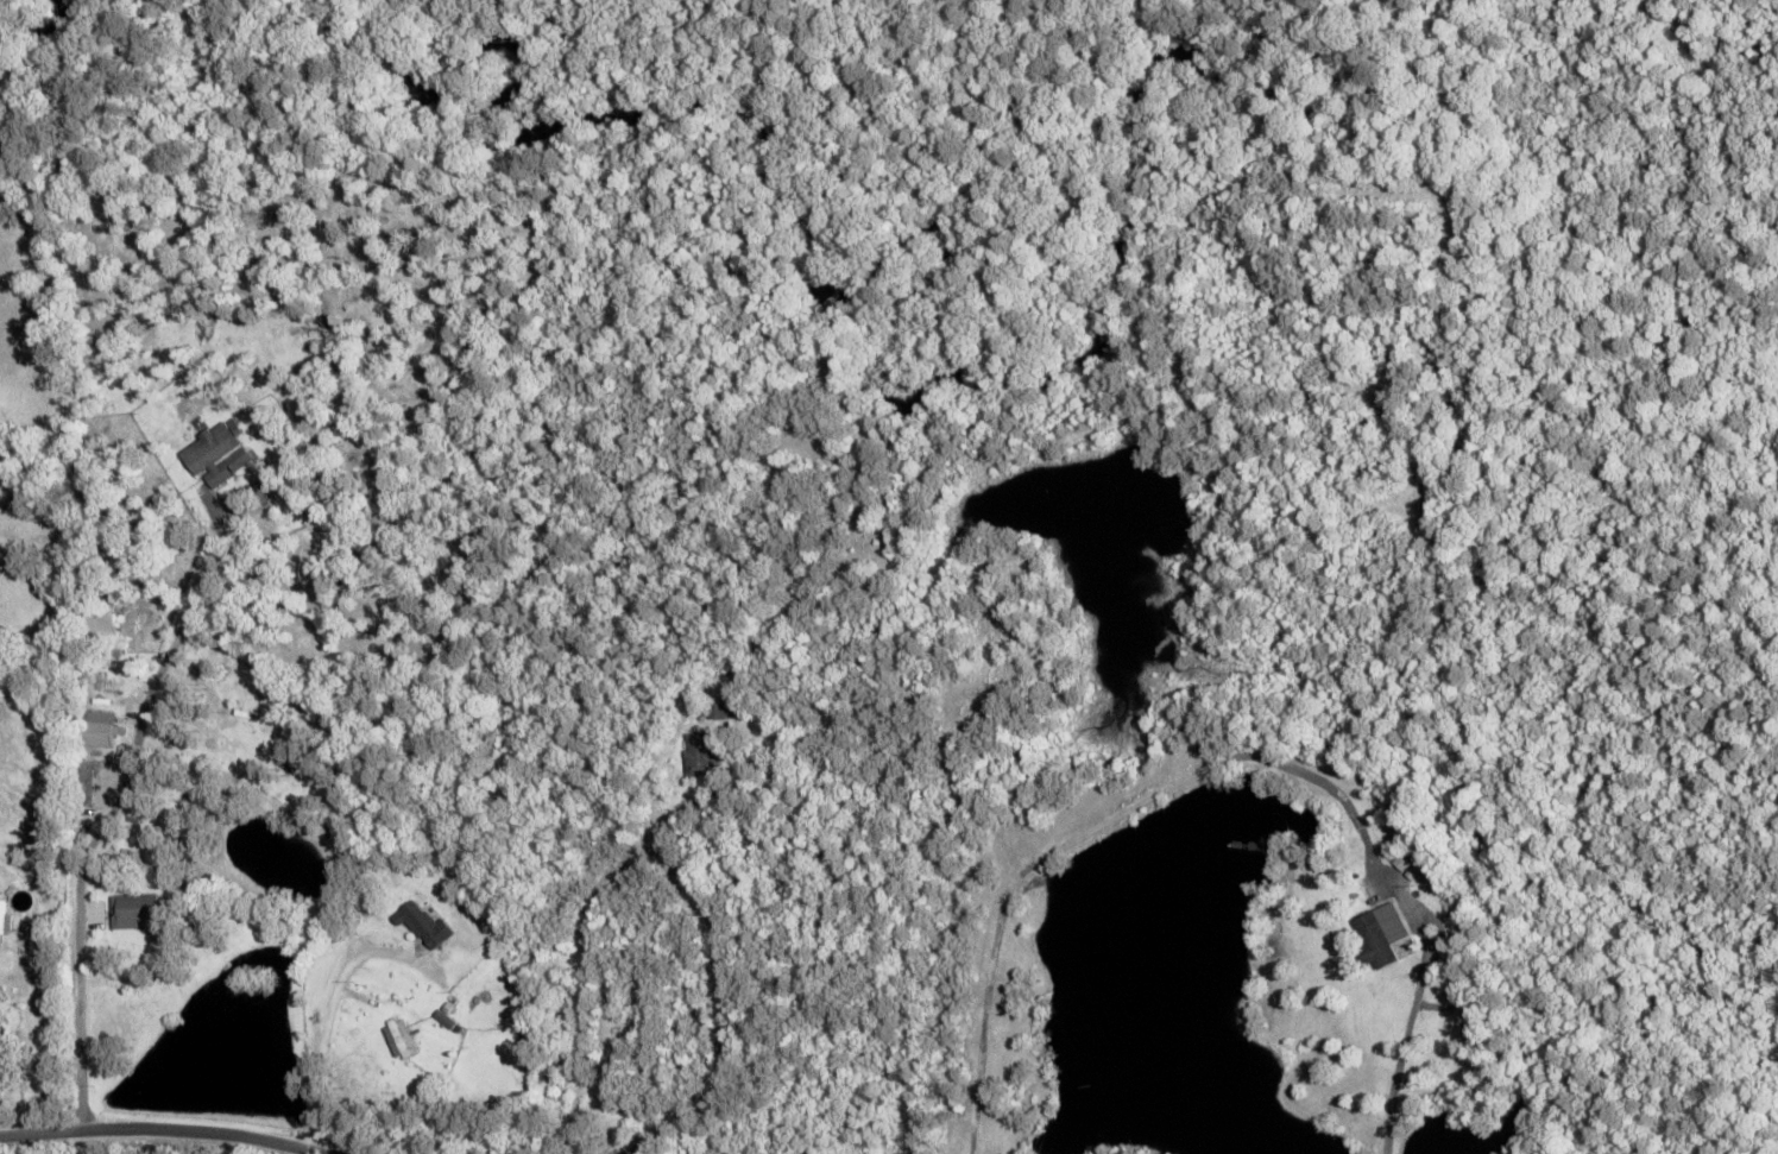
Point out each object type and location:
river: (868, 323)
building: (209, 448)
building: (240, 454)
building: (718, 710)
building: (270, 717)
building: (95, 727)
building: (700, 756)
building: (39, 822)
building: (133, 909)
building: (4, 920)
building: (422, 923)
building: (1380, 934)
road: (94, 983)
road: (279, 1003)
building: (398, 1038)
road: (185, 1129)
road: (283, 1140)
road: (225, 1141)
road: (37, 1144)

